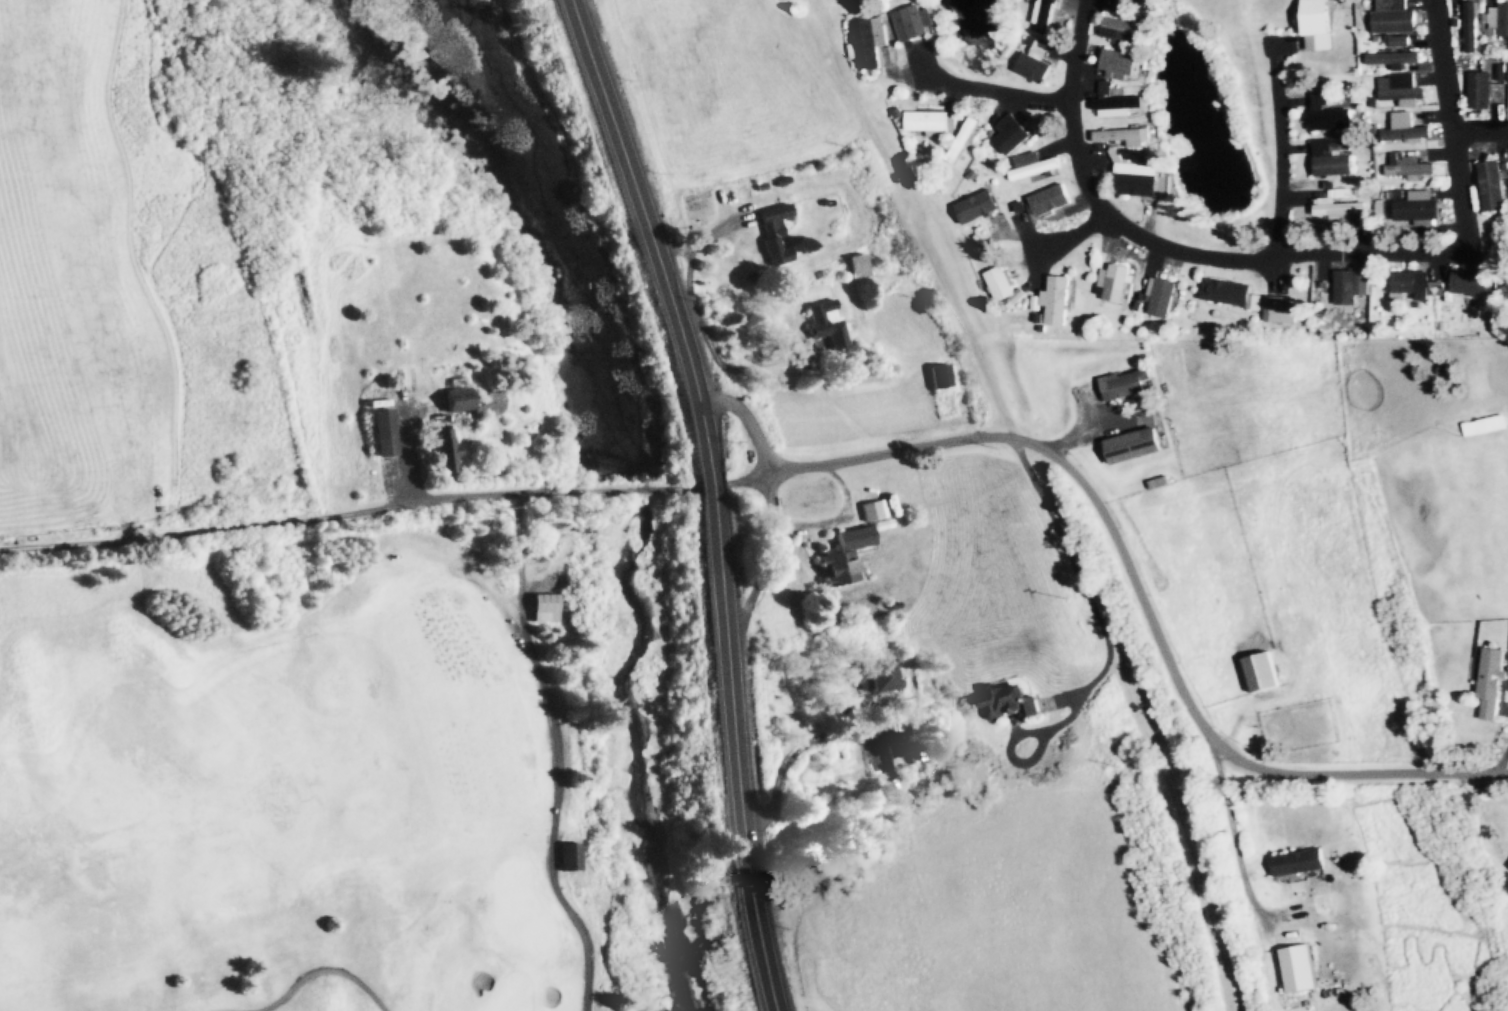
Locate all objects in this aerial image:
building: (1151, 0)
building: (1050, 16)
building: (1394, 16)
building: (1316, 18)
building: (1503, 18)
building: (915, 22)
building: (1472, 26)
building: (1121, 27)
building: (1399, 41)
building: (871, 42)
building: (1323, 44)
building: (1395, 58)
building: (1036, 64)
building: (1120, 64)
building: (1107, 88)
building: (1401, 88)
building: (1485, 91)
road: (1045, 99)
building: (1119, 107)
building: (1427, 113)
building: (1330, 116)
building: (930, 122)
building: (1406, 129)
road: (1482, 132)
building: (1012, 134)
building: (1126, 137)
building: (968, 138)
road: (1285, 152)
building: (1334, 159)
building: (1034, 166)
building: (1409, 167)
building: (1136, 178)
building: (1493, 186)
building: (1052, 200)
building: (978, 207)
building: (1418, 208)
building: (1339, 209)
building: (776, 232)
road: (645, 233)
road: (1067, 241)
road: (1349, 255)
building: (1001, 283)
building: (1120, 283)
building: (1471, 283)
building: (1411, 284)
building: (1352, 286)
building: (1232, 293)
building: (1162, 297)
building: (1057, 301)
building: (1283, 309)
building: (830, 324)
building: (942, 377)
building: (1126, 385)
building: (459, 405)
road: (746, 422)
building: (1486, 426)
building: (384, 431)
building: (1135, 446)
building: (445, 450)
road: (710, 487)
railway: (1048, 499)
road: (391, 508)
building: (855, 545)
road: (765, 565)
road: (1147, 601)
building: (546, 607)
building: (1263, 672)
building: (874, 676)
building: (1491, 682)
building: (1012, 700)
building: (898, 756)
road: (734, 758)
park: (298, 794)
building: (573, 857)
building: (1301, 863)
building: (1299, 969)

